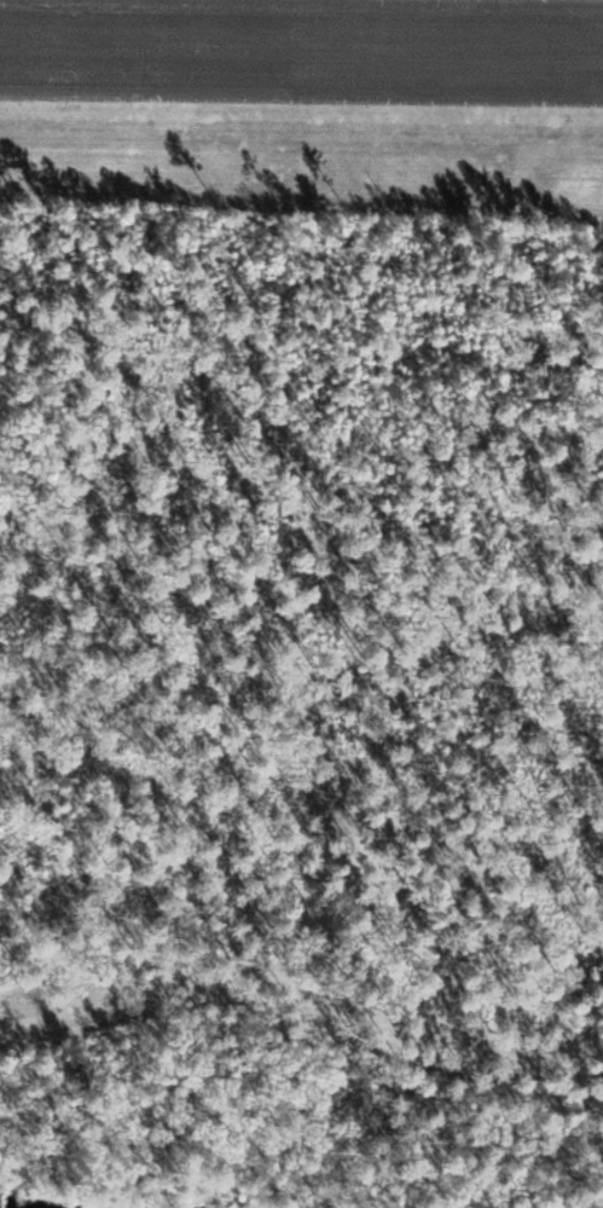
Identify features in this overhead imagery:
airport runway: (301, 44)
airport: (301, 603)

